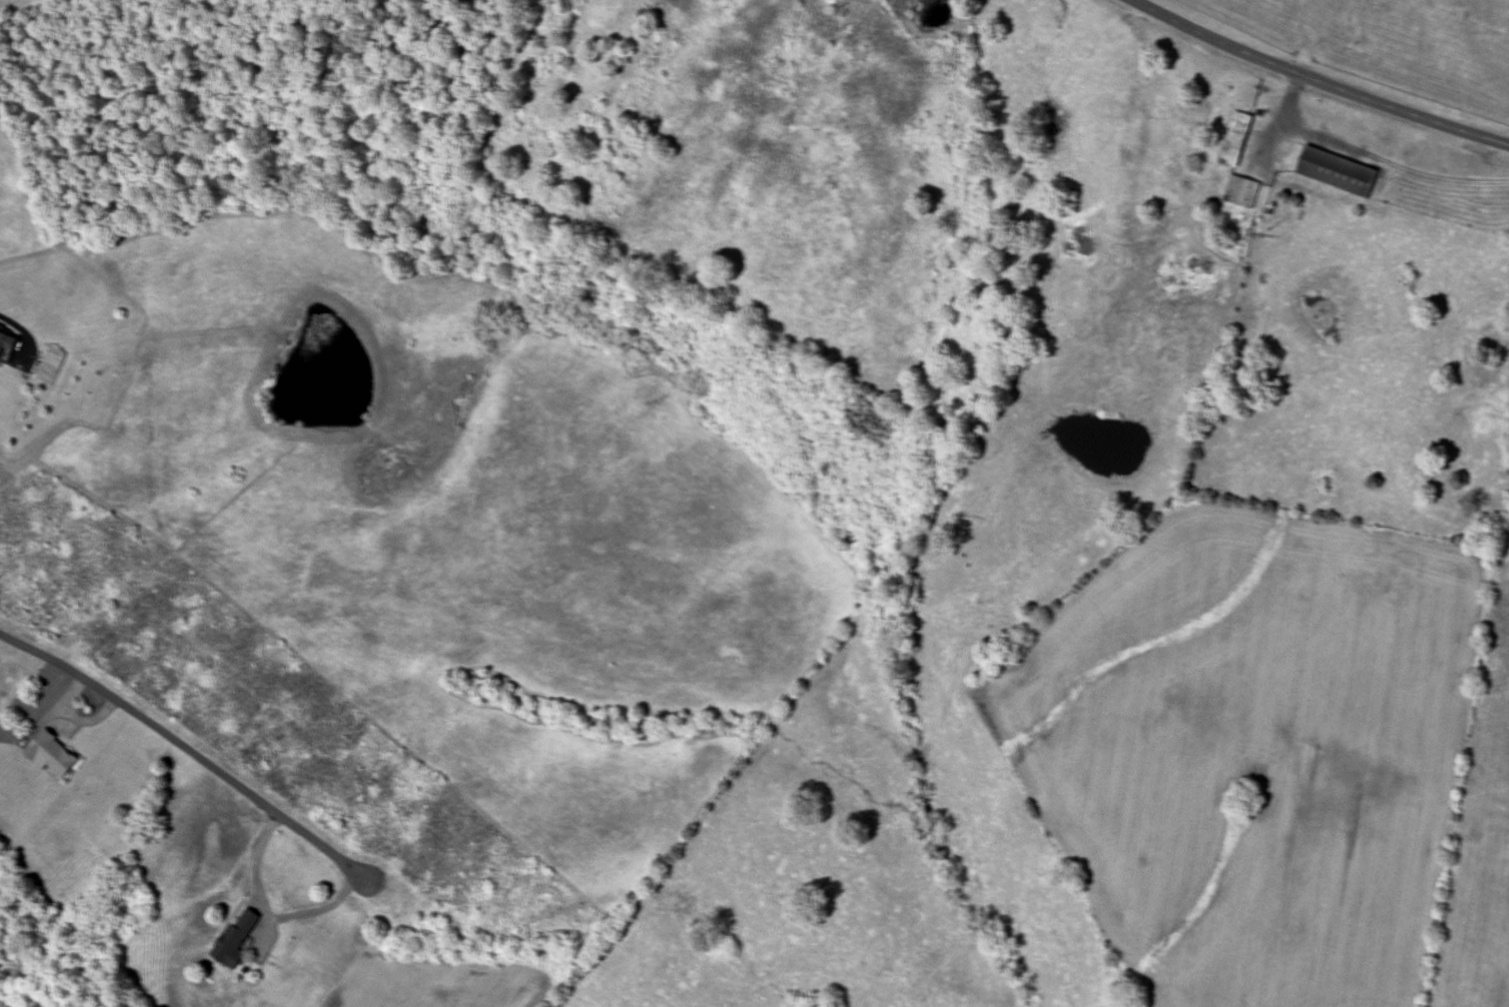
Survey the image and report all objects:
road: (1318, 81)
building: (1235, 139)
building: (1338, 172)
building: (1241, 191)
building: (8, 342)
building: (51, 754)
road: (194, 756)
building: (236, 940)
road: (358, 948)

